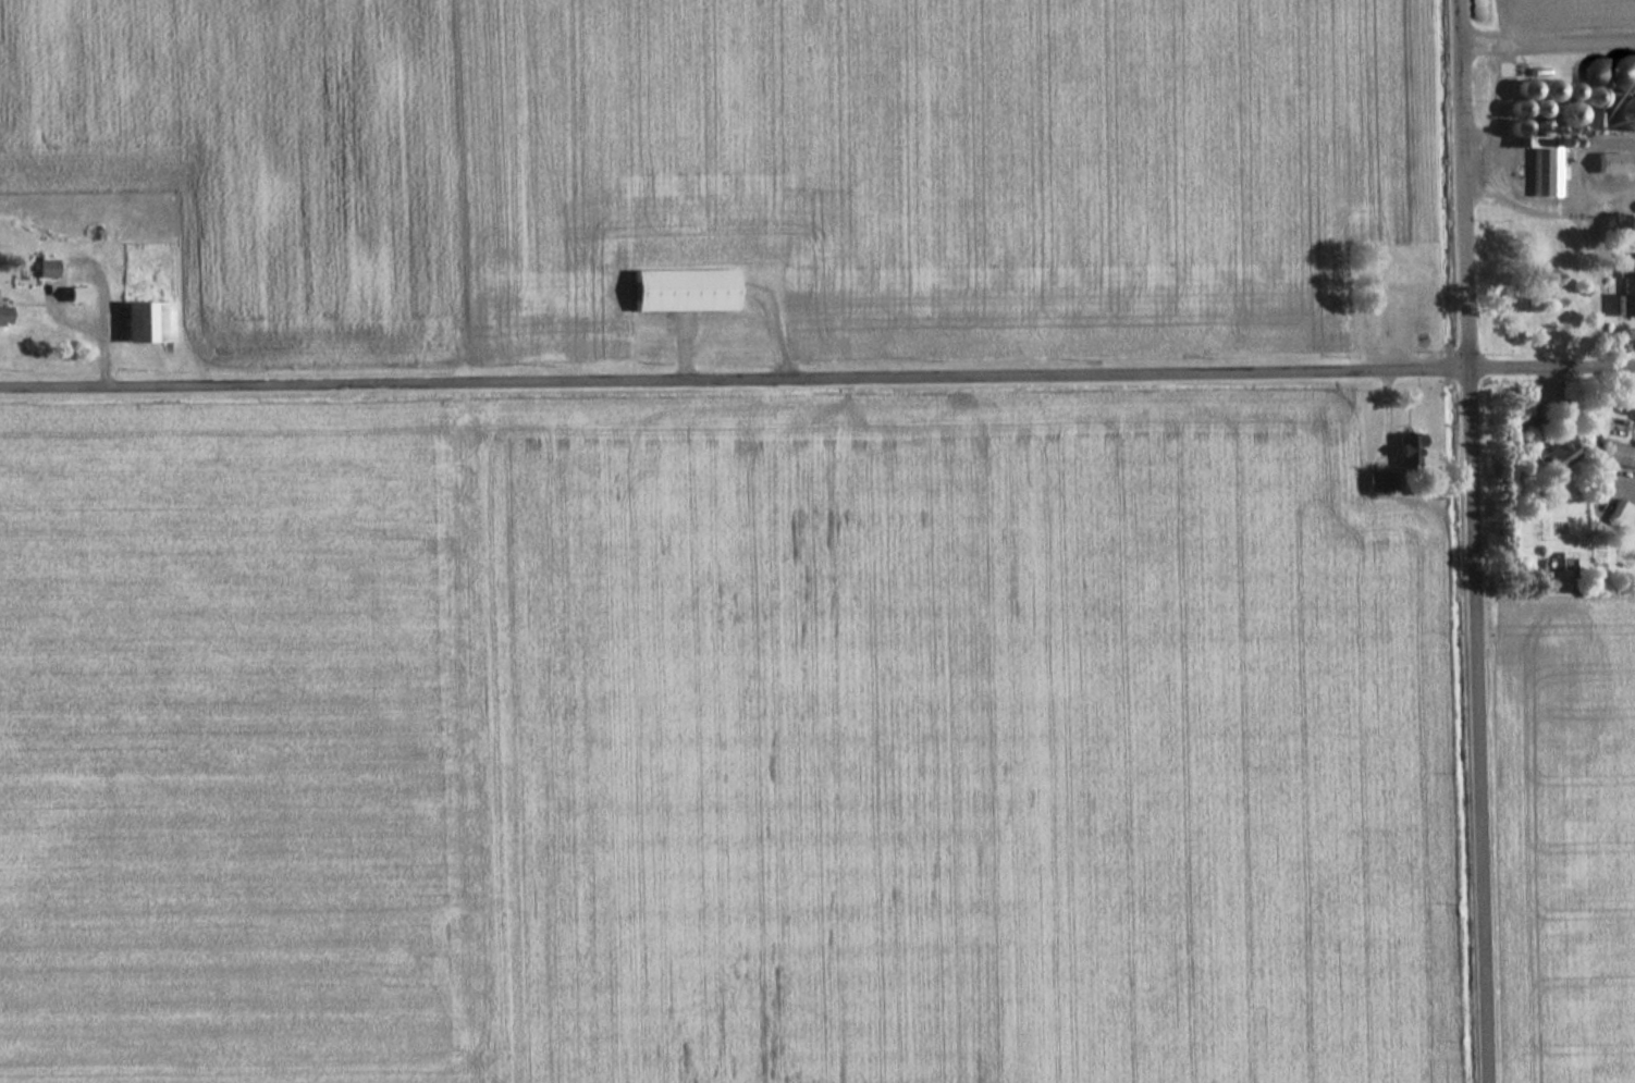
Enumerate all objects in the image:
crop: (1554, 14)
crop: (244, 153)
building: (1611, 161)
crop: (915, 167)
building: (45, 268)
building: (683, 290)
building: (1626, 291)
building: (75, 293)
building: (1, 315)
building: (146, 320)
road: (817, 380)
building: (1400, 447)
building: (1618, 455)
building: (1378, 480)
building: (1620, 513)
road: (1472, 541)
crop: (717, 752)
crop: (1573, 838)

